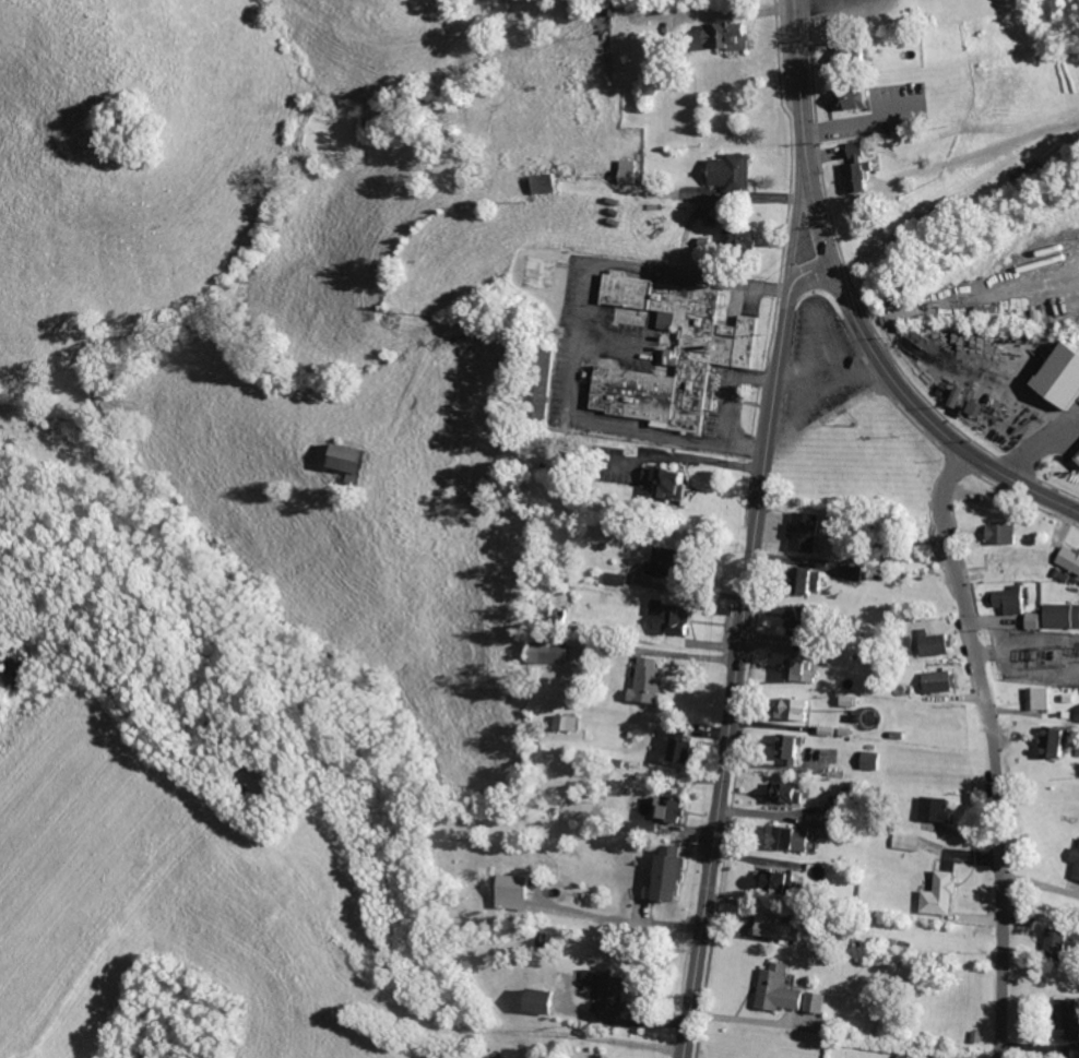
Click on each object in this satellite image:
park: (1004, 10)
building: (727, 34)
road: (798, 71)
building: (853, 96)
building: (936, 111)
building: (858, 166)
building: (628, 170)
building: (733, 171)
building: (546, 182)
road: (815, 211)
road: (796, 219)
building: (745, 239)
road: (807, 273)
building: (676, 352)
building: (1066, 376)
gas station: (1063, 377)
road: (932, 420)
building: (355, 461)
building: (671, 482)
building: (804, 531)
building: (1006, 534)
building: (1071, 557)
building: (665, 562)
building: (618, 579)
building: (816, 581)
building: (1012, 599)
building: (1062, 615)
building: (672, 616)
building: (801, 617)
building: (1035, 620)
building: (938, 644)
building: (550, 652)
power substation: (1037, 656)
building: (799, 669)
road: (734, 676)
building: (650, 681)
building: (941, 681)
building: (1042, 698)
building: (801, 709)
building: (568, 722)
building: (1058, 741)
building: (791, 748)
road: (993, 748)
building: (873, 760)
building: (788, 793)
building: (837, 805)
building: (938, 809)
building: (666, 811)
building: (832, 829)
building: (1076, 863)
building: (664, 872)
building: (776, 882)
building: (514, 892)
building: (941, 893)
building: (778, 926)
building: (1059, 940)
building: (767, 986)
building: (608, 998)
building: (535, 1000)
building: (816, 1002)
building: (1070, 1019)
building: (1078, 1050)
building: (593, 1057)

